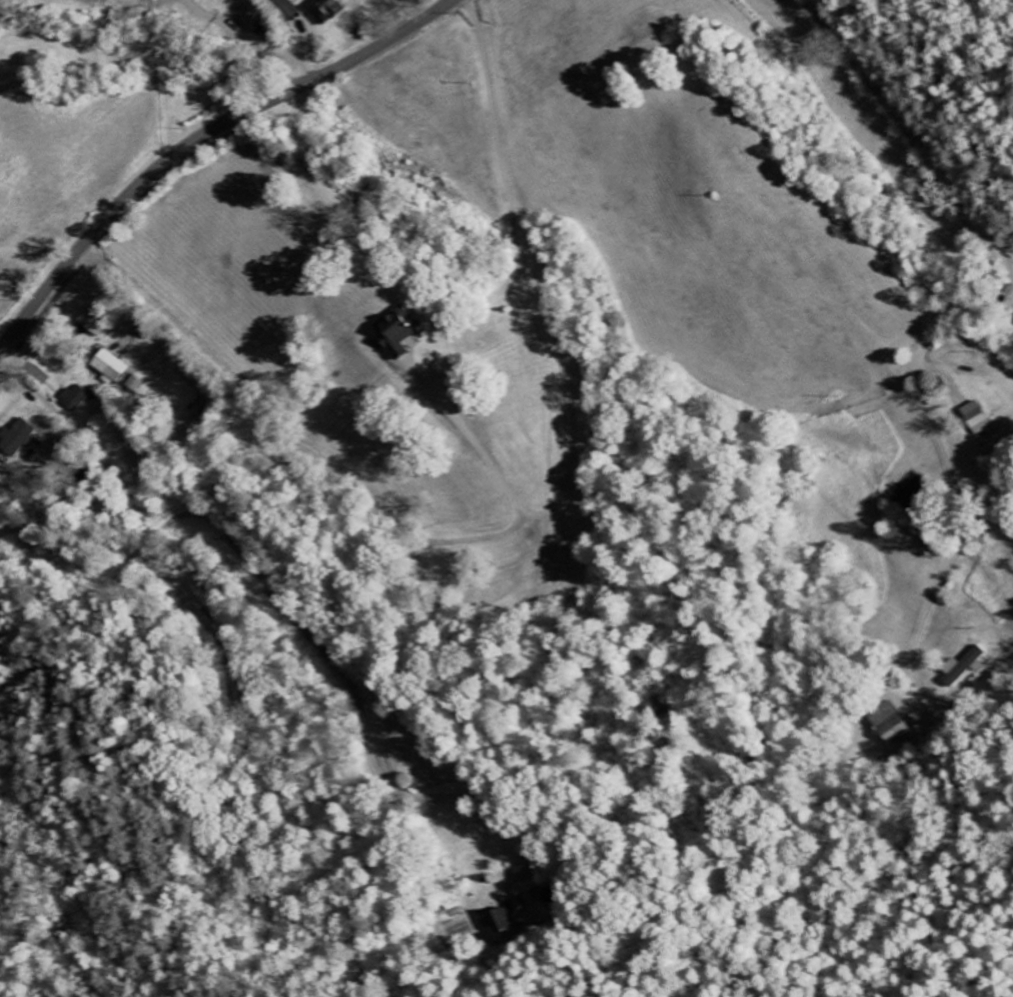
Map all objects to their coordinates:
building: (285, 9)
building: (324, 10)
road: (910, 134)
road: (199, 138)
road: (555, 324)
building: (398, 333)
building: (107, 366)
road: (247, 393)
building: (74, 399)
building: (978, 421)
road: (471, 429)
building: (16, 440)
road: (949, 472)
road: (316, 644)
building: (964, 667)
building: (892, 725)
building: (502, 923)

